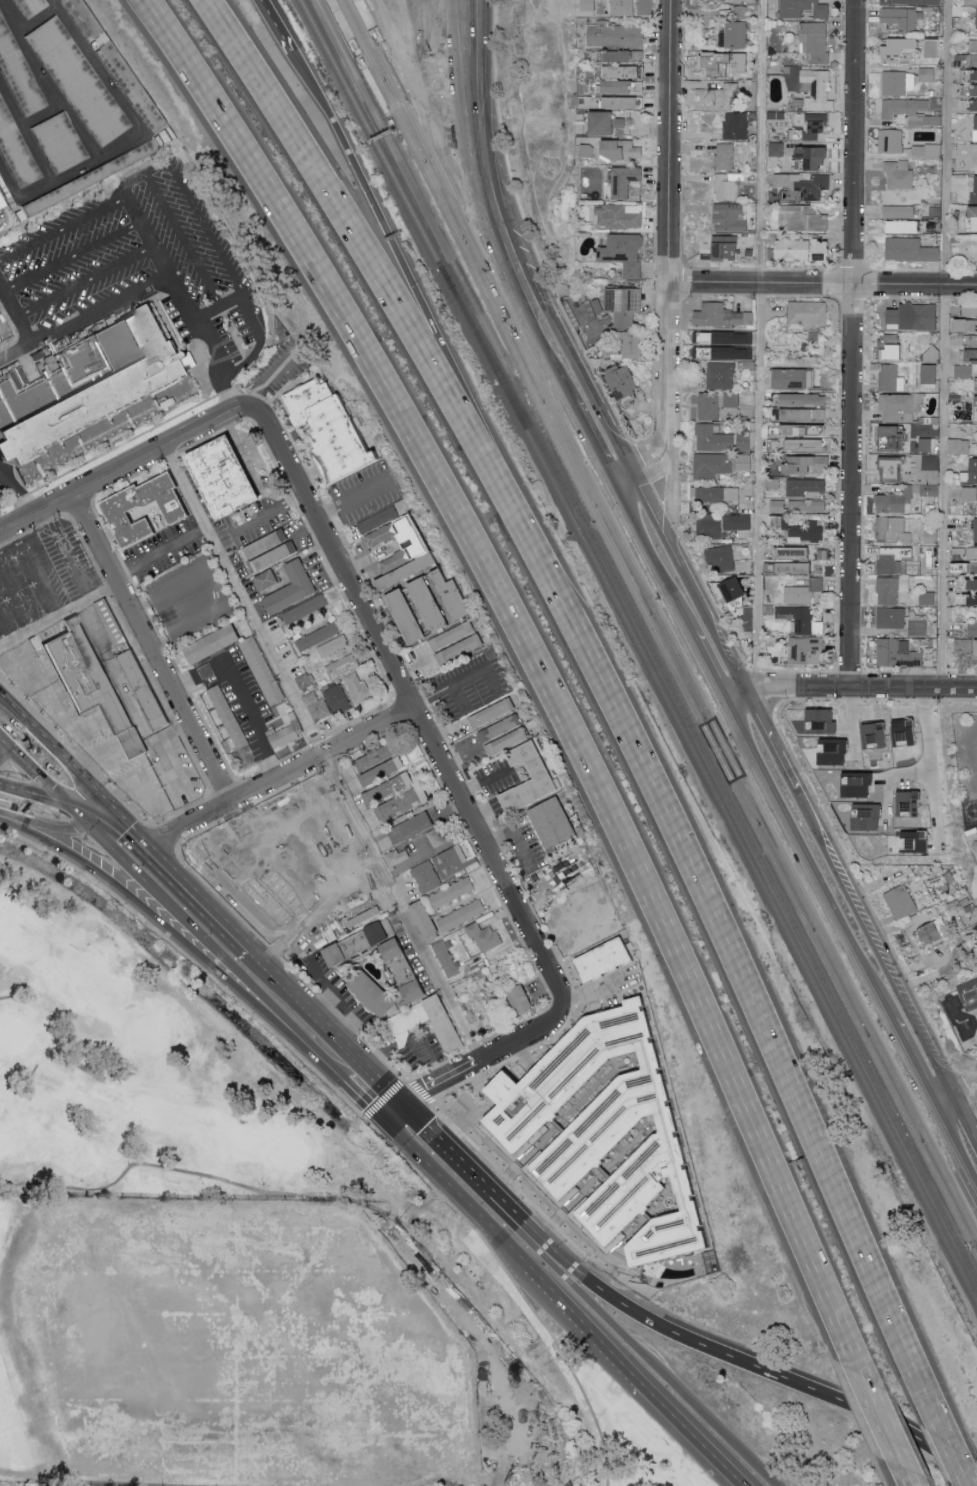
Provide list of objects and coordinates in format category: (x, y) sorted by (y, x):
building: (912, 2)
building: (972, 2)
building: (587, 5)
road: (348, 7)
building: (619, 7)
building: (31, 8)
building: (805, 9)
parking lot: (424, 10)
building: (373, 12)
building: (740, 12)
building: (900, 17)
building: (84, 20)
building: (342, 24)
building: (614, 35)
building: (735, 35)
building: (815, 41)
building: (973, 44)
railway: (378, 45)
building: (900, 46)
road: (382, 47)
road: (446, 47)
building: (932, 48)
road: (363, 49)
railway: (357, 55)
building: (624, 55)
road: (473, 57)
building: (971, 59)
building: (731, 65)
road: (400, 67)
road: (419, 70)
building: (623, 71)
building: (926, 74)
building: (966, 74)
building: (975, 74)
building: (19, 76)
building: (406, 78)
building: (79, 84)
building: (622, 86)
building: (817, 89)
building: (972, 90)
building: (137, 96)
building: (718, 97)
building: (620, 102)
building: (972, 106)
road: (445, 111)
building: (911, 111)
traffic signals: (475, 114)
building: (605, 123)
building: (815, 125)
road: (427, 126)
building: (735, 126)
building: (975, 128)
road: (446, 132)
road: (446, 136)
road: (477, 139)
building: (891, 141)
building: (60, 146)
building: (622, 149)
building: (776, 149)
building: (587, 150)
building: (927, 151)
building: (16, 154)
building: (724, 156)
building: (813, 157)
road: (146, 174)
building: (899, 175)
building: (625, 180)
building: (89, 182)
building: (804, 185)
building: (726, 187)
building: (975, 189)
building: (1, 202)
road: (493, 210)
road: (371, 212)
road: (339, 213)
building: (974, 215)
building: (620, 216)
building: (729, 218)
building: (802, 219)
road: (670, 223)
road: (182, 240)
building: (726, 247)
road: (85, 249)
building: (792, 249)
building: (822, 250)
building: (910, 250)
building: (624, 253)
road: (157, 263)
railway: (457, 273)
road: (95, 278)
road: (152, 282)
road: (823, 282)
road: (238, 296)
building: (624, 305)
building: (591, 309)
building: (970, 309)
building: (808, 312)
building: (722, 316)
building: (915, 316)
road: (14, 318)
building: (972, 325)
building: (724, 338)
building: (970, 340)
road: (762, 343)
road: (854, 344)
road: (948, 344)
building: (889, 347)
road: (546, 352)
building: (722, 353)
building: (971, 355)
building: (963, 371)
building: (931, 374)
building: (721, 375)
road: (269, 377)
building: (890, 378)
building: (791, 379)
building: (622, 381)
road: (584, 386)
building: (90, 391)
building: (800, 400)
building: (715, 404)
building: (899, 407)
building: (803, 414)
building: (331, 429)
building: (803, 429)
road: (212, 436)
road: (627, 438)
building: (891, 438)
building: (713, 439)
building: (742, 440)
road: (127, 442)
road: (592, 443)
building: (806, 445)
building: (925, 445)
building: (958, 446)
road: (169, 457)
building: (930, 462)
road: (137, 464)
road: (250, 464)
road: (652, 464)
building: (711, 465)
building: (808, 465)
building: (890, 469)
building: (973, 470)
building: (228, 478)
road: (125, 479)
road: (623, 479)
building: (804, 487)
building: (930, 490)
road: (20, 492)
building: (715, 493)
building: (969, 493)
road: (669, 495)
road: (352, 499)
building: (896, 499)
road: (289, 501)
building: (806, 506)
road: (79, 507)
building: (124, 507)
road: (649, 508)
road: (68, 515)
building: (378, 519)
road: (253, 521)
building: (738, 522)
building: (710, 528)
building: (890, 528)
road: (305, 529)
road: (1, 530)
building: (799, 530)
building: (976, 530)
building: (382, 535)
building: (931, 536)
building: (271, 550)
road: (160, 551)
road: (350, 553)
building: (971, 553)
road: (672, 555)
road: (323, 557)
building: (721, 558)
road: (652, 559)
building: (891, 560)
building: (395, 561)
road: (74, 566)
building: (794, 568)
building: (973, 568)
road: (36, 569)
building: (267, 580)
building: (972, 584)
building: (293, 587)
building: (451, 589)
building: (732, 589)
building: (891, 589)
road: (108, 590)
building: (803, 591)
road: (172, 592)
road: (16, 594)
building: (972, 599)
road: (697, 603)
building: (430, 605)
building: (304, 610)
road: (59, 614)
building: (408, 617)
building: (891, 618)
building: (799, 619)
railway: (658, 621)
building: (113, 622)
road: (189, 625)
building: (918, 627)
building: (972, 628)
railway: (653, 631)
building: (318, 637)
road: (163, 641)
building: (213, 644)
building: (963, 645)
building: (332, 648)
road: (153, 649)
building: (461, 649)
building: (976, 649)
railway: (640, 651)
building: (806, 651)
building: (897, 653)
road: (534, 661)
road: (730, 666)
building: (341, 667)
road: (709, 668)
building: (304, 681)
building: (94, 682)
building: (145, 686)
building: (358, 687)
road: (859, 689)
road: (240, 692)
road: (161, 696)
road: (735, 698)
building: (337, 699)
road: (130, 700)
building: (316, 706)
road: (51, 712)
road: (413, 712)
building: (493, 712)
road: (399, 713)
road: (358, 718)
building: (822, 720)
road: (419, 721)
road: (410, 730)
building: (906, 731)
building: (503, 734)
building: (876, 734)
building: (283, 736)
road: (2, 742)
road: (316, 742)
road: (370, 743)
road: (769, 743)
road: (2, 749)
road: (104, 749)
building: (834, 751)
road: (323, 754)
road: (458, 754)
building: (377, 756)
road: (63, 762)
road: (930, 762)
road: (274, 764)
road: (327, 764)
building: (384, 770)
building: (540, 772)
road: (98, 777)
road: (279, 777)
road: (484, 785)
road: (49, 786)
building: (856, 786)
road: (223, 787)
building: (389, 789)
road: (64, 798)
building: (403, 802)
building: (910, 802)
road: (246, 809)
building: (868, 816)
road: (14, 822)
building: (553, 822)
road: (77, 827)
traffic signals: (95, 827)
building: (412, 827)
road: (137, 835)
building: (437, 836)
road: (163, 839)
building: (916, 840)
traffic signals: (148, 847)
building: (397, 856)
building: (454, 862)
road: (808, 863)
road: (481, 864)
building: (295, 865)
road: (330, 869)
building: (253, 873)
building: (368, 876)
building: (426, 876)
road: (143, 879)
building: (452, 892)
road: (196, 898)
building: (901, 901)
building: (462, 915)
railway: (787, 916)
road: (712, 917)
building: (425, 919)
building: (379, 931)
building: (928, 933)
road: (544, 934)
building: (484, 936)
road: (186, 943)
road: (874, 944)
building: (350, 947)
building: (446, 958)
road: (289, 966)
building: (405, 969)
road: (598, 986)
road: (330, 989)
building: (373, 992)
building: (970, 995)
road: (266, 998)
building: (521, 998)
road: (300, 1000)
road: (353, 1016)
road: (549, 1022)
road: (519, 1023)
building: (400, 1025)
building: (966, 1029)
park: (151, 1033)
park: (14, 1034)
road: (508, 1045)
road: (474, 1047)
road: (297, 1055)
road: (429, 1058)
road: (914, 1064)
road: (364, 1066)
road: (437, 1066)
road: (383, 1086)
road: (415, 1087)
road: (354, 1090)
road: (964, 1091)
road: (420, 1093)
road: (944, 1101)
road: (382, 1102)
road: (965, 1119)
building: (612, 1132)
road: (438, 1147)
road: (956, 1147)
park: (286, 1153)
road: (437, 1173)
road: (504, 1176)
park: (226, 1245)
park: (226, 1245)
road: (557, 1296)
road: (625, 1304)
road: (630, 1341)
road: (588, 1406)
road: (677, 1421)
road: (664, 1423)
road: (883, 1424)
road: (884, 1425)
road: (951, 1450)

